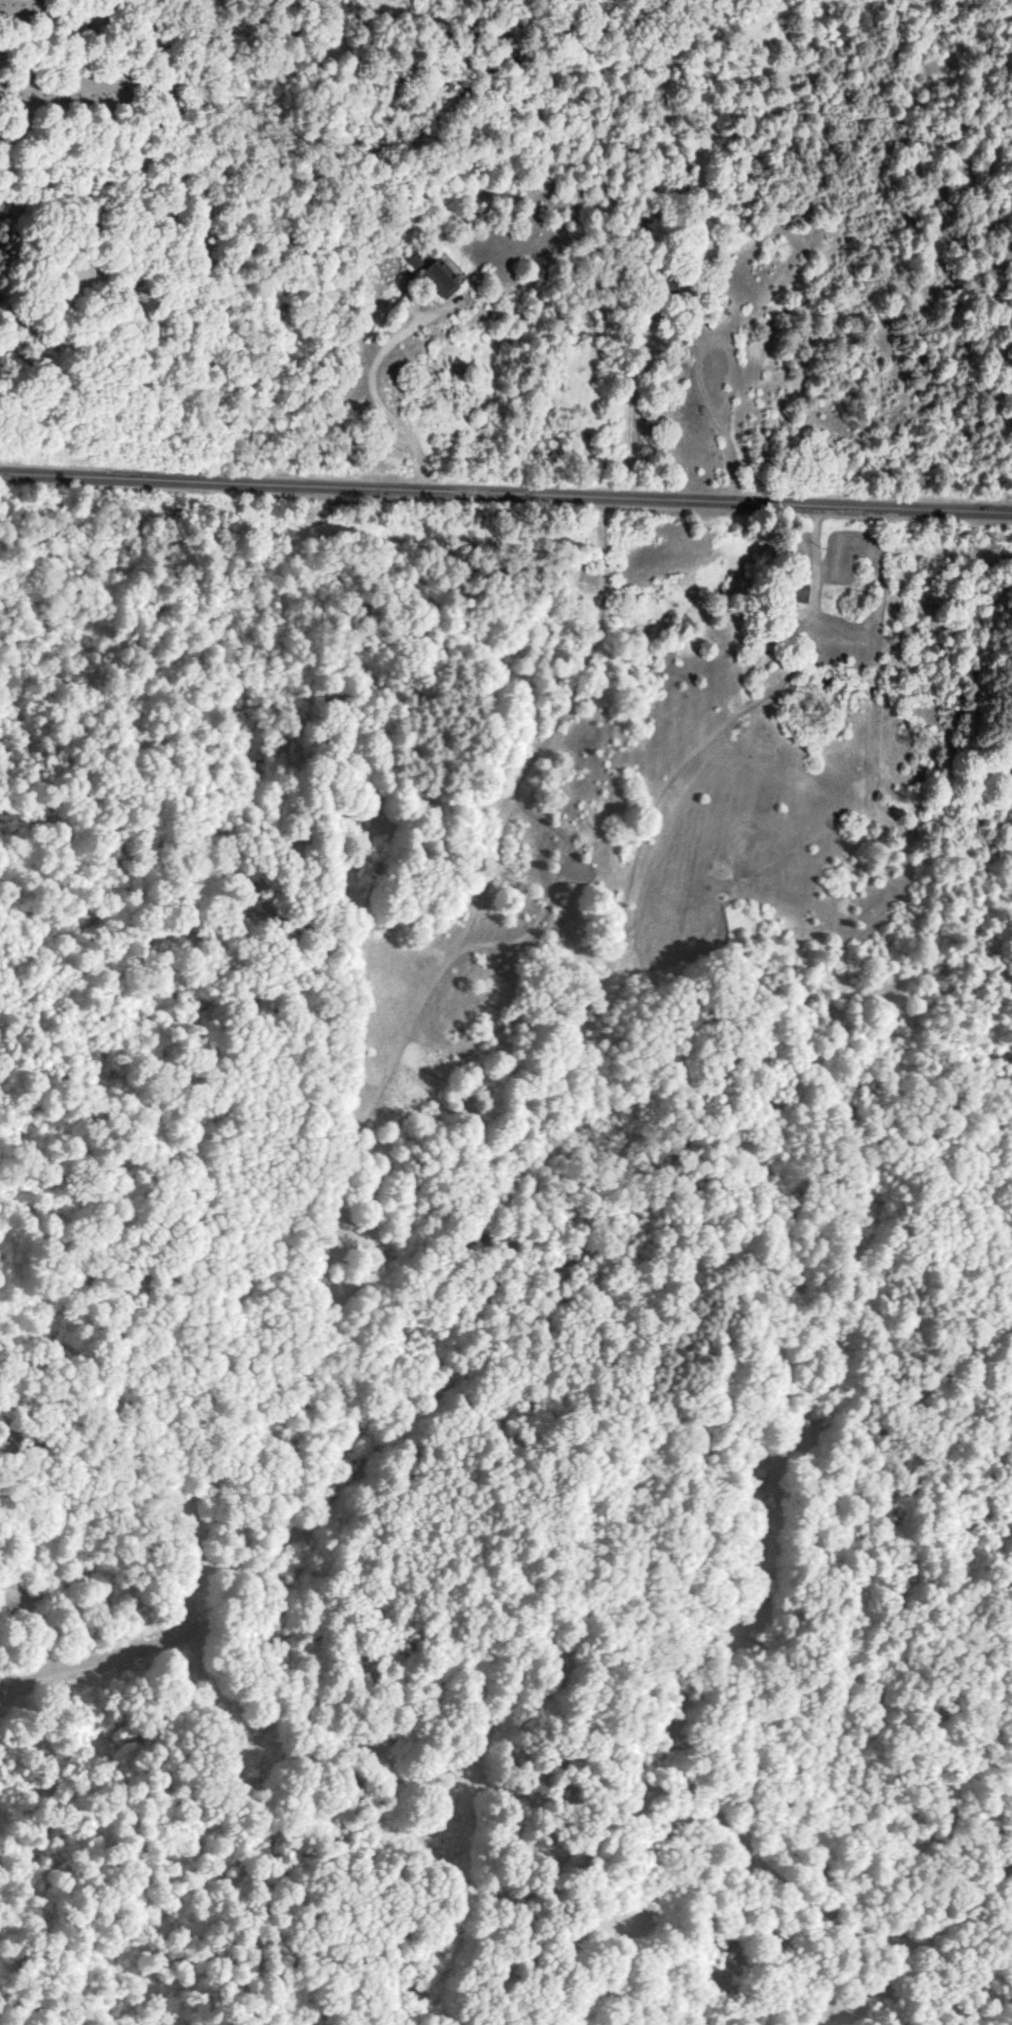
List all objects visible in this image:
road: (173, 129)
building: (439, 278)
building: (665, 285)
building: (717, 319)
road: (20, 405)
road: (505, 494)
building: (795, 591)

